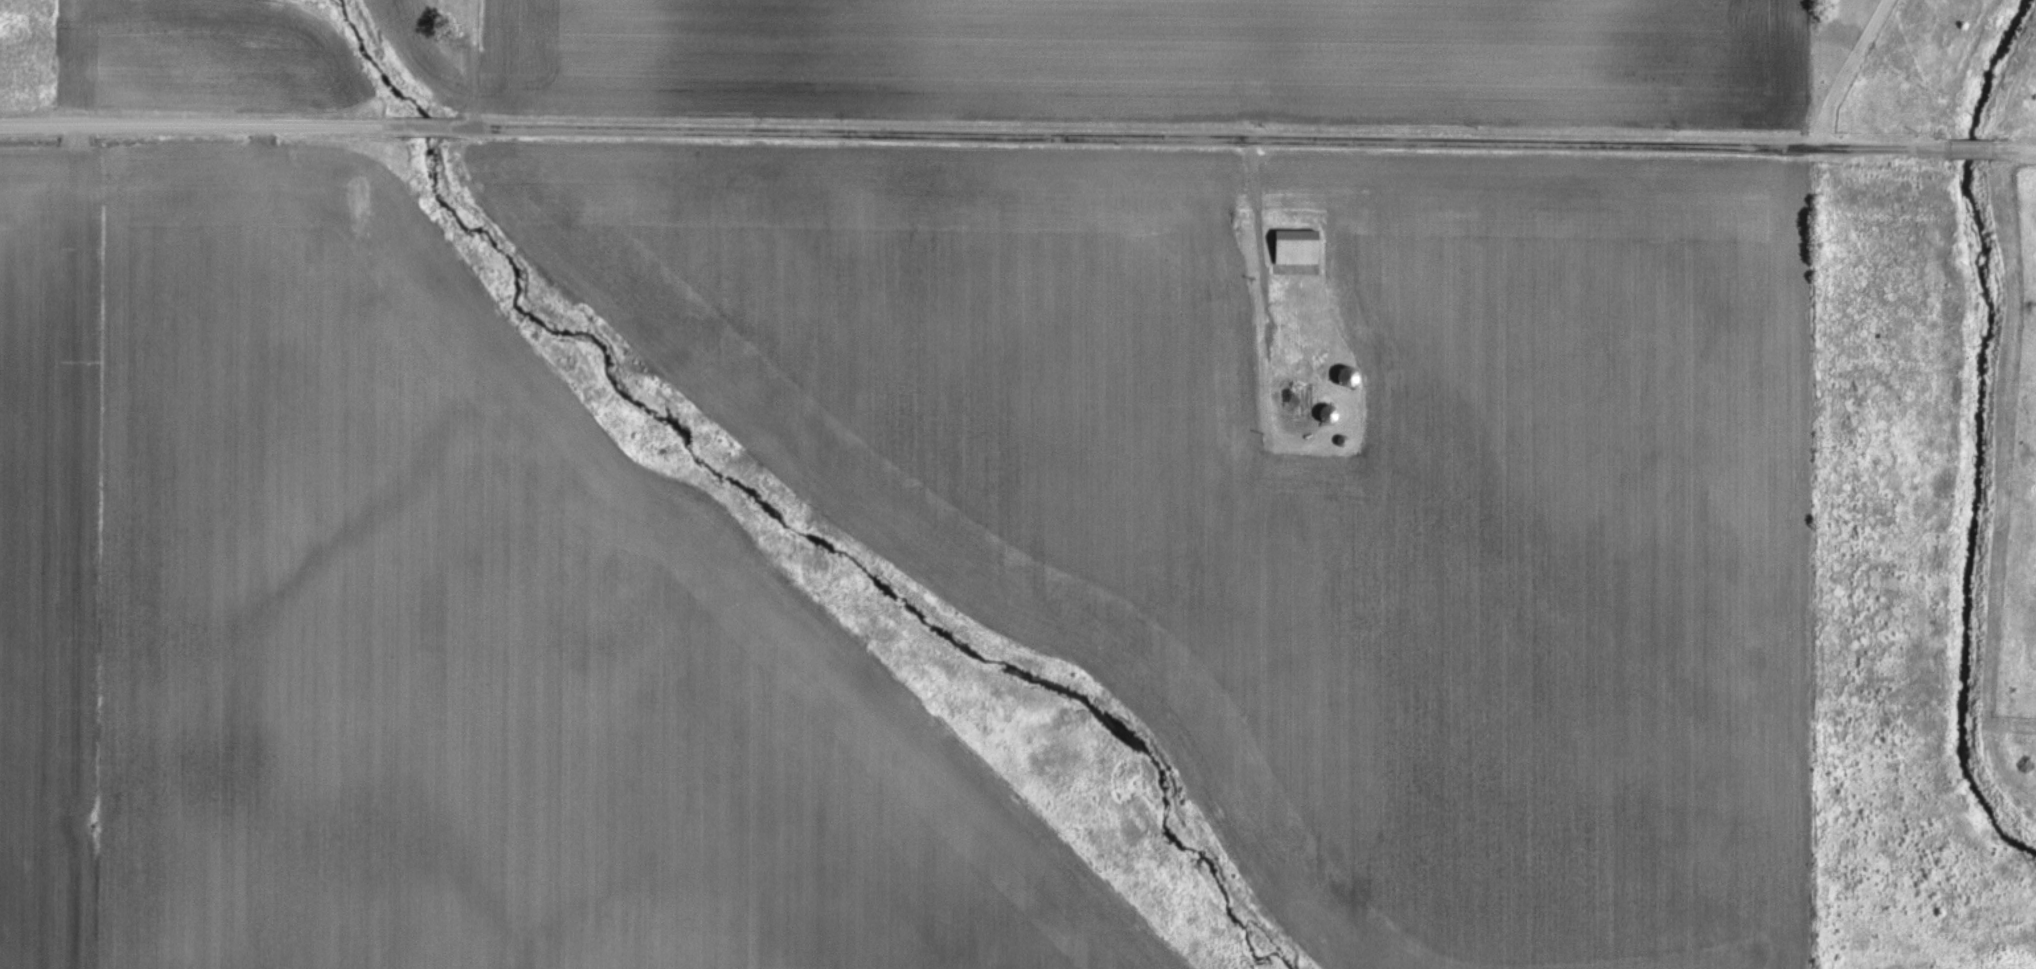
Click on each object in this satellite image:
road: (1844, 70)
road: (1017, 133)
building: (1296, 248)

